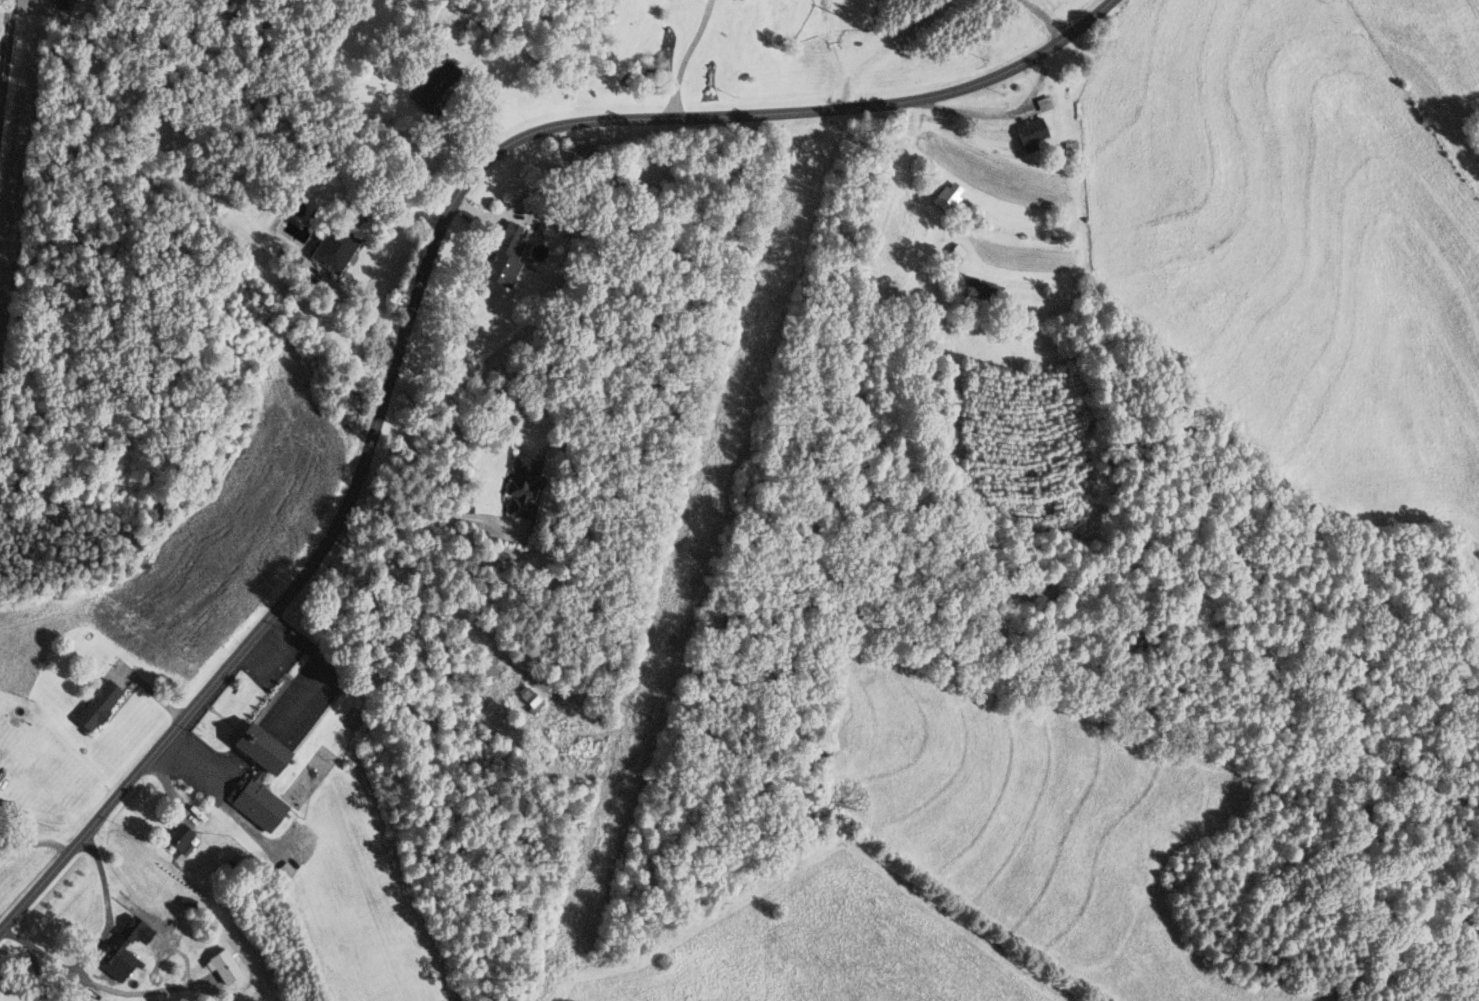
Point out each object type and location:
building: (66, 3)
road: (685, 56)
road: (6, 59)
building: (434, 84)
building: (1043, 102)
building: (1030, 132)
building: (1069, 148)
building: (947, 195)
building: (333, 246)
building: (956, 251)
building: (505, 254)
building: (292, 258)
road: (426, 274)
building: (981, 290)
building: (521, 485)
road: (431, 507)
building: (87, 637)
building: (555, 670)
building: (528, 698)
building: (95, 704)
building: (256, 775)
building: (178, 835)
road: (108, 907)
building: (122, 951)
road: (97, 985)
building: (159, 989)

